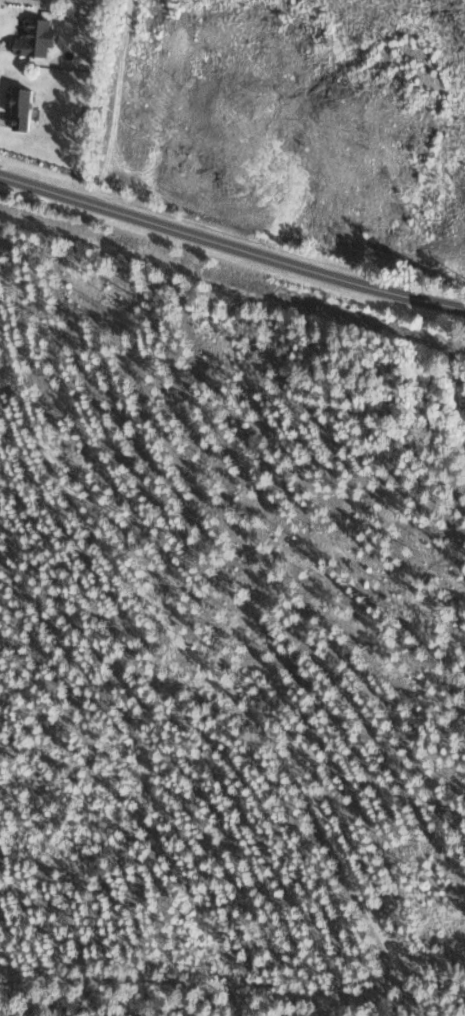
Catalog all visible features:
building: (41, 37)
building: (29, 108)
road: (232, 242)
road: (193, 658)

